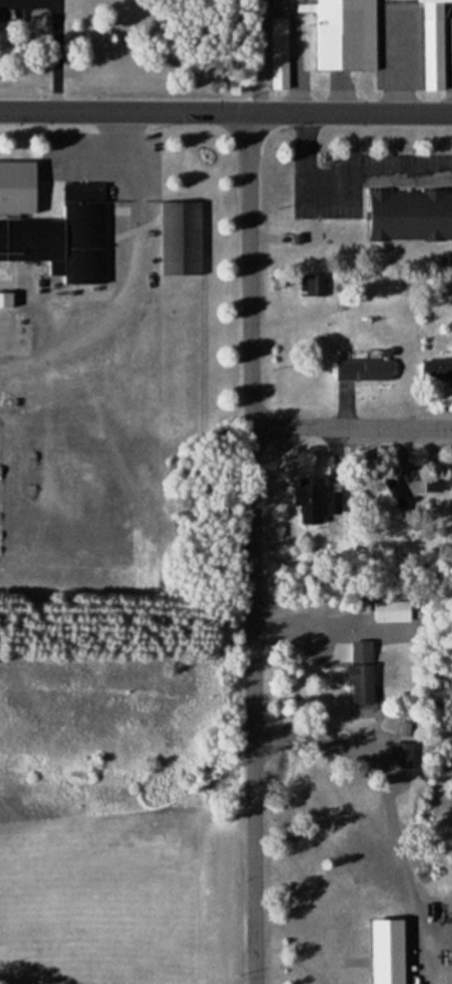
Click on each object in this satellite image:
building: (343, 33)
building: (433, 44)
building: (279, 53)
road: (225, 113)
building: (409, 214)
building: (55, 230)
building: (181, 238)
building: (363, 370)
building: (436, 371)
road: (351, 427)
building: (451, 488)
building: (311, 499)
road: (251, 548)
building: (392, 612)
building: (360, 683)
building: (400, 756)
building: (388, 966)

